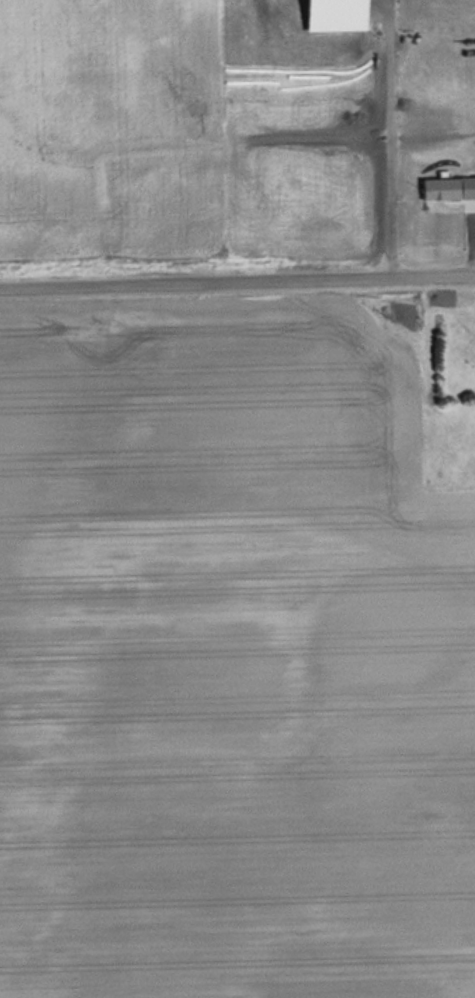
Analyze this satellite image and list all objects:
road: (391, 138)
road: (237, 280)

